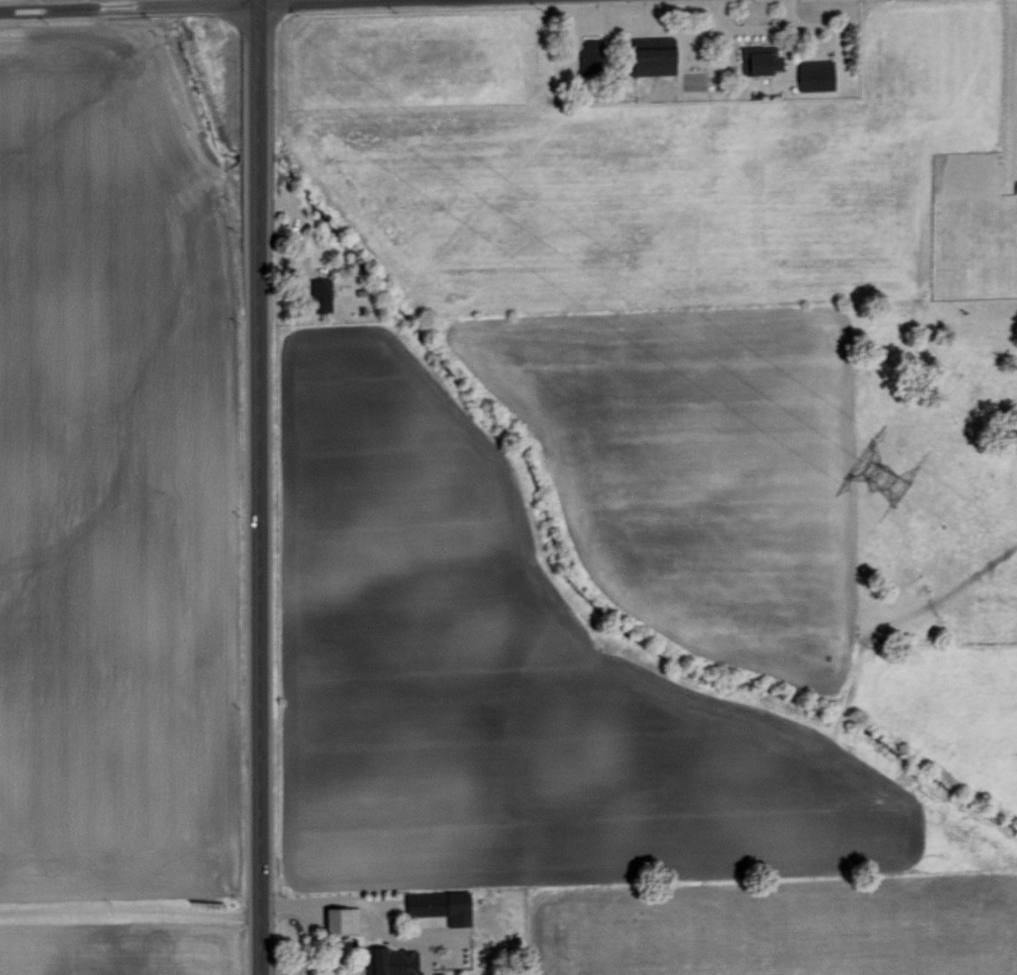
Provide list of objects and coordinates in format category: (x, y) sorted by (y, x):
road: (144, 5)
building: (650, 59)
building: (761, 59)
building: (813, 74)
building: (1015, 185)
building: (318, 294)
road: (256, 487)
power tower: (888, 502)
building: (435, 907)
road: (128, 910)
building: (339, 919)
building: (391, 961)
road: (299, 973)

